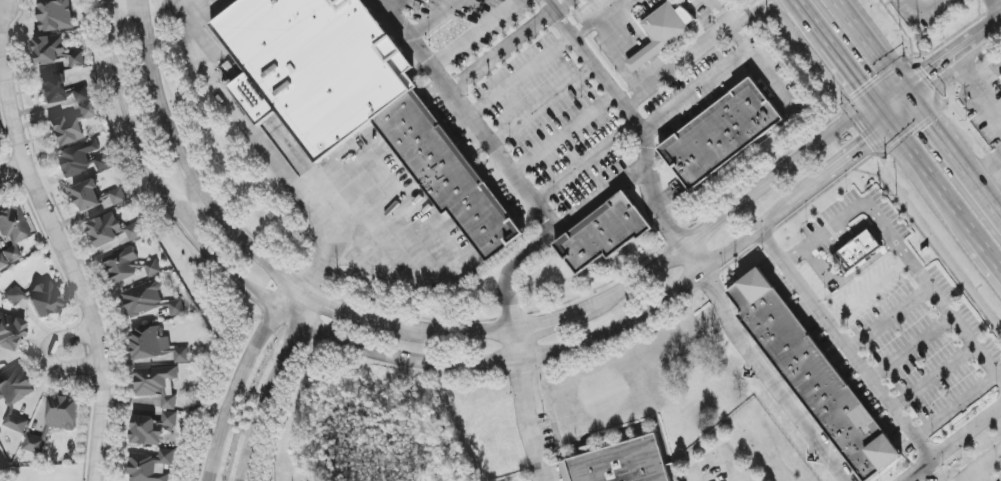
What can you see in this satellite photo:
building: (923, 0)
road: (121, 1)
road: (183, 1)
building: (927, 1)
road: (765, 3)
road: (393, 6)
road: (744, 9)
road: (994, 9)
road: (923, 10)
building: (55, 15)
road: (596, 18)
road: (810, 19)
road: (433, 20)
road: (474, 34)
road: (619, 34)
building: (662, 35)
road: (508, 46)
road: (871, 46)
building: (56, 51)
road: (748, 51)
road: (952, 58)
road: (641, 61)
road: (680, 63)
road: (651, 74)
road: (853, 75)
road: (518, 77)
building: (1000, 78)
building: (52, 89)
road: (977, 90)
road: (695, 92)
traffic signals: (906, 93)
building: (82, 94)
traffic signals: (872, 100)
building: (357, 101)
road: (230, 106)
road: (540, 106)
road: (465, 116)
road: (886, 118)
road: (930, 124)
building: (70, 125)
traffic signals: (892, 126)
road: (562, 135)
building: (722, 136)
building: (84, 158)
road: (584, 163)
road: (986, 168)
road: (13, 171)
road: (933, 179)
road: (977, 186)
building: (87, 196)
building: (118, 196)
road: (191, 203)
road: (856, 210)
building: (112, 230)
building: (12, 233)
building: (606, 235)
road: (443, 245)
road: (680, 245)
road: (987, 250)
building: (858, 251)
road: (320, 262)
road: (67, 264)
building: (129, 267)
road: (849, 276)
road: (506, 292)
road: (867, 292)
building: (14, 295)
building: (44, 299)
building: (143, 299)
building: (176, 308)
road: (887, 318)
road: (959, 326)
building: (11, 332)
road: (464, 333)
building: (155, 345)
road: (843, 346)
road: (910, 348)
road: (48, 355)
road: (450, 364)
road: (240, 377)
building: (815, 378)
road: (933, 378)
building: (157, 384)
building: (15, 385)
road: (272, 385)
road: (956, 407)
building: (15, 422)
building: (151, 428)
road: (951, 443)
building: (34, 444)
road: (1000, 452)
road: (717, 458)
building: (1, 462)
building: (620, 464)
road: (981, 465)
building: (150, 466)
building: (165, 469)
road: (930, 472)

